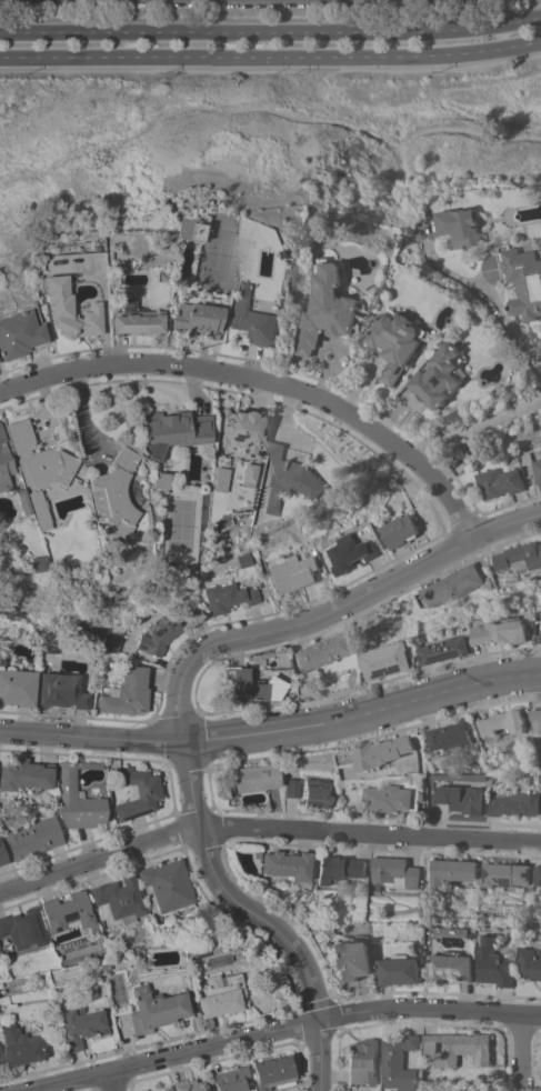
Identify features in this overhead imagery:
road: (271, 31)
road: (271, 56)
road: (435, 97)
road: (267, 108)
building: (462, 226)
building: (187, 230)
building: (234, 246)
building: (524, 280)
building: (325, 307)
building: (69, 310)
building: (251, 316)
building: (137, 319)
building: (196, 319)
road: (517, 322)
building: (19, 334)
building: (397, 341)
building: (440, 374)
road: (264, 380)
road: (86, 423)
road: (475, 428)
building: (173, 431)
building: (242, 431)
building: (38, 458)
building: (512, 458)
building: (3, 463)
building: (537, 468)
building: (247, 472)
building: (289, 478)
building: (218, 479)
building: (159, 481)
building: (499, 481)
building: (70, 484)
building: (112, 496)
building: (21, 501)
building: (38, 510)
building: (399, 530)
building: (349, 552)
building: (519, 555)
building: (243, 560)
building: (38, 562)
building: (292, 572)
building: (452, 584)
building: (228, 598)
road: (327, 609)
building: (129, 630)
building: (505, 631)
building: (154, 635)
building: (112, 642)
building: (450, 649)
building: (329, 655)
building: (391, 660)
building: (251, 685)
building: (18, 687)
building: (62, 691)
building: (127, 693)
building: (540, 720)
building: (509, 721)
road: (272, 731)
building: (454, 737)
building: (385, 751)
building: (24, 774)
building: (257, 778)
building: (292, 788)
building: (318, 792)
building: (138, 793)
building: (391, 797)
building: (77, 798)
building: (461, 798)
building: (514, 803)
building: (540, 815)
road: (266, 830)
building: (33, 838)
building: (2, 853)
building: (258, 853)
building: (288, 864)
building: (339, 868)
building: (393, 871)
building: (450, 871)
building: (505, 873)
building: (538, 874)
building: (168, 884)
building: (304, 891)
building: (121, 899)
building: (69, 912)
road: (253, 918)
building: (23, 928)
building: (200, 952)
building: (191, 958)
building: (351, 959)
building: (530, 961)
building: (494, 962)
building: (102, 967)
building: (452, 967)
building: (399, 969)
building: (220, 995)
building: (154, 1009)
building: (80, 1025)
road: (274, 1033)
building: (17, 1047)
building: (459, 1048)
road: (521, 1052)
building: (363, 1061)
building: (401, 1063)
building: (273, 1073)
building: (231, 1079)
road: (110, 1082)
building: (437, 1082)
building: (190, 1085)
building: (168, 1088)
building: (144, 1090)

